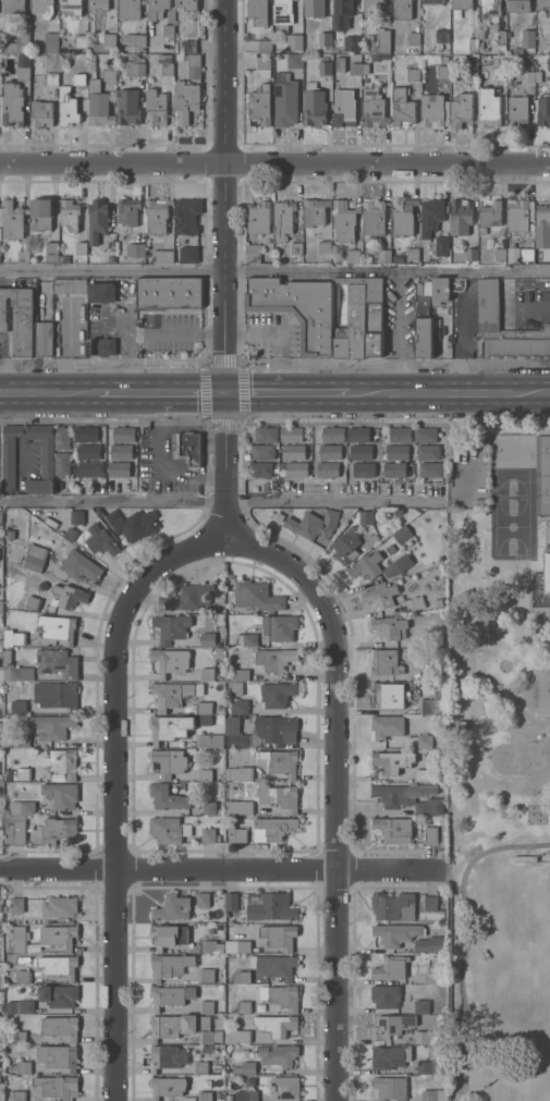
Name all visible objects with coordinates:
building: (432, 1)
building: (542, 3)
building: (98, 4)
building: (186, 4)
building: (462, 4)
building: (518, 5)
building: (72, 7)
building: (371, 7)
building: (13, 8)
building: (44, 8)
building: (315, 8)
building: (130, 9)
building: (159, 9)
building: (402, 9)
building: (490, 10)
building: (283, 11)
building: (258, 12)
building: (342, 13)
building: (169, 33)
building: (442, 35)
building: (24, 36)
building: (296, 36)
building: (501, 36)
building: (0, 38)
building: (368, 38)
building: (413, 38)
building: (528, 38)
building: (109, 39)
building: (135, 39)
building: (326, 39)
building: (81, 40)
building: (382, 40)
building: (293, 41)
building: (51, 42)
building: (352, 44)
building: (190, 45)
building: (473, 45)
building: (265, 46)
building: (10, 47)
building: (365, 47)
building: (374, 49)
building: (517, 51)
building: (294, 60)
building: (445, 60)
building: (340, 63)
building: (549, 63)
building: (166, 64)
building: (192, 64)
building: (135, 65)
building: (23, 66)
building: (264, 66)
building: (326, 66)
building: (0, 69)
building: (358, 69)
building: (470, 70)
building: (443, 72)
building: (109, 73)
building: (499, 73)
building: (384, 74)
building: (414, 75)
building: (533, 76)
building: (52, 78)
building: (71, 101)
building: (187, 101)
building: (12, 103)
building: (286, 103)
building: (99, 105)
building: (260, 105)
building: (129, 106)
building: (315, 106)
building: (156, 108)
building: (401, 108)
building: (488, 108)
building: (344, 109)
building: (372, 109)
building: (460, 109)
building: (543, 110)
building: (433, 111)
building: (41, 112)
building: (517, 112)
road: (274, 163)
road: (224, 197)
building: (129, 211)
building: (316, 211)
building: (41, 215)
building: (70, 215)
building: (157, 215)
building: (517, 215)
building: (187, 216)
building: (431, 216)
building: (460, 216)
building: (489, 216)
building: (375, 217)
building: (403, 217)
building: (258, 218)
building: (283, 219)
building: (13, 220)
building: (97, 220)
building: (344, 221)
building: (542, 225)
building: (325, 246)
building: (441, 246)
building: (0, 248)
building: (82, 248)
building: (296, 248)
building: (136, 250)
building: (52, 252)
building: (253, 254)
building: (412, 254)
building: (472, 254)
building: (513, 254)
building: (527, 254)
building: (0, 255)
building: (188, 255)
building: (500, 255)
building: (162, 256)
building: (353, 256)
building: (384, 256)
building: (24, 257)
building: (111, 258)
building: (64, 259)
building: (396, 259)
road: (274, 274)
building: (341, 280)
road: (535, 283)
road: (510, 285)
building: (70, 286)
road: (488, 288)
building: (440, 290)
building: (101, 292)
building: (169, 293)
building: (488, 305)
road: (524, 306)
building: (297, 308)
building: (366, 317)
building: (20, 318)
building: (424, 326)
road: (145, 331)
road: (462, 335)
building: (45, 339)
building: (342, 342)
building: (102, 346)
road: (548, 393)
road: (49, 394)
road: (448, 394)
road: (161, 395)
traffic signals: (224, 395)
road: (288, 395)
building: (86, 432)
building: (267, 433)
building: (292, 433)
building: (358, 433)
building: (399, 433)
building: (425, 433)
building: (124, 435)
building: (333, 435)
building: (62, 438)
building: (453, 445)
building: (190, 448)
building: (121, 451)
building: (264, 451)
building: (360, 451)
building: (396, 451)
building: (89, 452)
building: (295, 452)
building: (330, 452)
building: (428, 452)
building: (9, 461)
road: (223, 462)
building: (62, 463)
building: (88, 468)
building: (297, 468)
building: (364, 468)
building: (394, 468)
building: (119, 469)
building: (261, 469)
building: (329, 469)
building: (430, 469)
road: (221, 503)
building: (1, 516)
building: (366, 516)
building: (77, 517)
building: (133, 524)
building: (315, 526)
building: (402, 534)
building: (1, 538)
building: (371, 539)
building: (100, 540)
building: (346, 545)
building: (35, 558)
building: (366, 565)
building: (396, 565)
building: (81, 566)
building: (548, 573)
building: (70, 596)
building: (258, 596)
building: (193, 597)
building: (380, 597)
building: (416, 602)
building: (34, 603)
building: (1, 607)
building: (220, 616)
building: (389, 626)
building: (58, 627)
building: (171, 627)
building: (281, 627)
building: (14, 638)
building: (209, 639)
building: (247, 639)
building: (218, 653)
building: (276, 659)
building: (172, 661)
building: (386, 662)
building: (58, 663)
building: (15, 669)
building: (208, 674)
building: (220, 675)
building: (243, 675)
building: (0, 688)
building: (237, 688)
building: (174, 694)
building: (278, 694)
building: (56, 695)
building: (388, 695)
building: (428, 706)
building: (19, 707)
building: (241, 707)
building: (207, 708)
building: (205, 720)
building: (0, 724)
building: (52, 726)
building: (386, 726)
building: (171, 727)
building: (278, 730)
building: (236, 733)
building: (23, 741)
building: (210, 741)
building: (424, 742)
building: (231, 756)
building: (281, 761)
building: (392, 761)
building: (63, 762)
building: (171, 762)
building: (241, 773)
building: (24, 774)
building: (206, 774)
building: (8, 775)
building: (426, 775)
road: (113, 785)
road: (337, 786)
building: (230, 793)
building: (61, 795)
building: (169, 797)
building: (285, 797)
building: (408, 797)
building: (240, 807)
building: (23, 808)
building: (210, 808)
building: (15, 829)
building: (274, 829)
building: (393, 829)
building: (166, 830)
building: (58, 831)
building: (237, 834)
building: (430, 834)
building: (210, 835)
building: (525, 858)
road: (220, 873)
building: (204, 900)
building: (232, 901)
building: (430, 903)
building: (16, 905)
building: (60, 906)
building: (269, 906)
building: (393, 906)
building: (174, 907)
building: (219, 928)
building: (395, 934)
building: (59, 935)
building: (169, 937)
building: (280, 937)
building: (20, 939)
building: (428, 945)
building: (212, 946)
building: (231, 946)
building: (244, 946)
building: (59, 966)
building: (169, 966)
building: (274, 966)
building: (391, 967)
building: (207, 976)
building: (23, 977)
building: (242, 977)
building: (431, 978)
building: (59, 995)
building: (386, 995)
building: (171, 996)
building: (283, 996)
building: (20, 1006)
building: (207, 1006)
building: (244, 1006)
building: (421, 1006)
building: (0, 1007)
building: (235, 1016)
building: (277, 1025)
building: (60, 1026)
building: (391, 1026)
building: (183, 1027)
building: (236, 1036)
building: (19, 1037)
building: (427, 1037)
building: (280, 1055)
building: (57, 1056)
building: (163, 1056)
building: (387, 1057)
building: (432, 1063)
building: (23, 1067)
building: (200, 1067)
building: (249, 1067)
building: (236, 1071)
building: (1, 1078)
building: (58, 1087)
building: (168, 1087)
building: (390, 1087)
building: (285, 1088)
building: (17, 1096)
building: (246, 1096)
building: (432, 1096)
building: (205, 1097)

